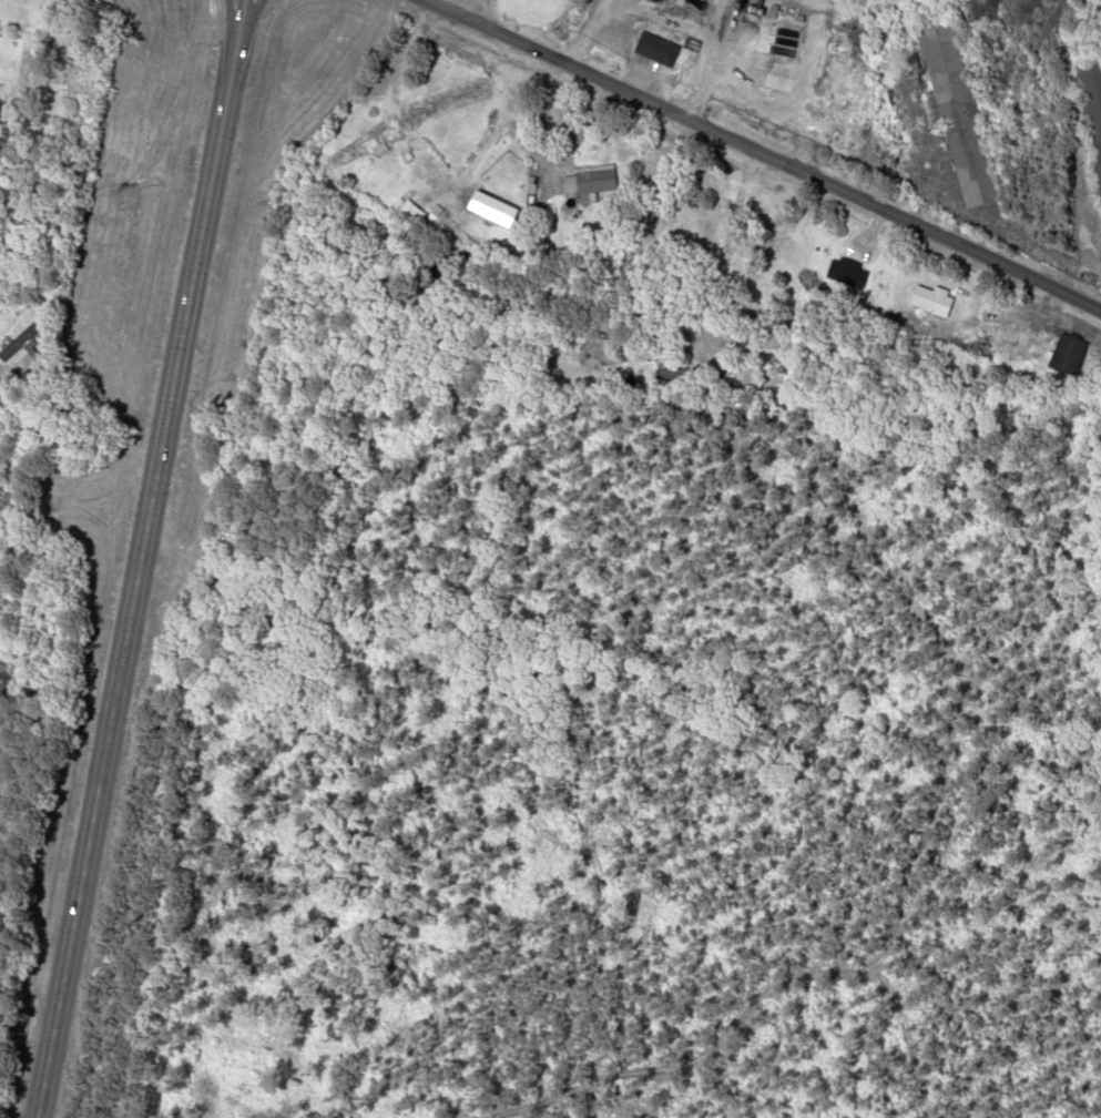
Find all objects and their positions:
road: (230, 27)
road: (246, 28)
building: (657, 48)
building: (1093, 108)
building: (961, 114)
road: (763, 156)
building: (592, 182)
building: (532, 184)
building: (489, 203)
building: (848, 274)
building: (23, 342)
building: (1070, 354)
building: (675, 375)
road: (137, 559)

